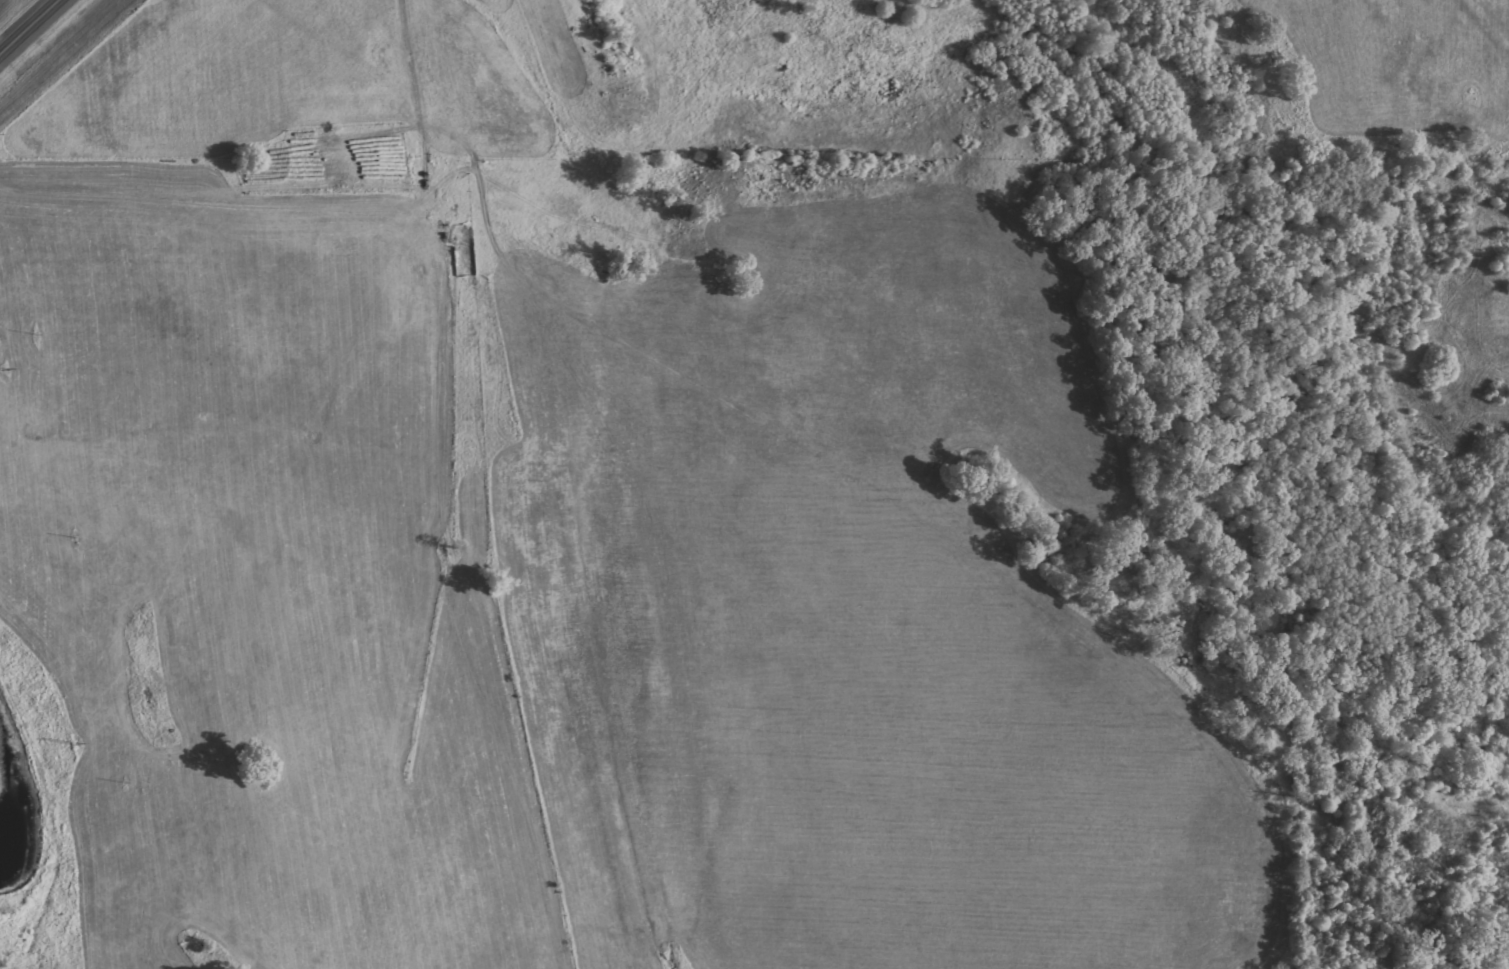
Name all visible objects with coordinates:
road: (30, 28)
power tower: (1, 367)
power tower: (74, 743)

